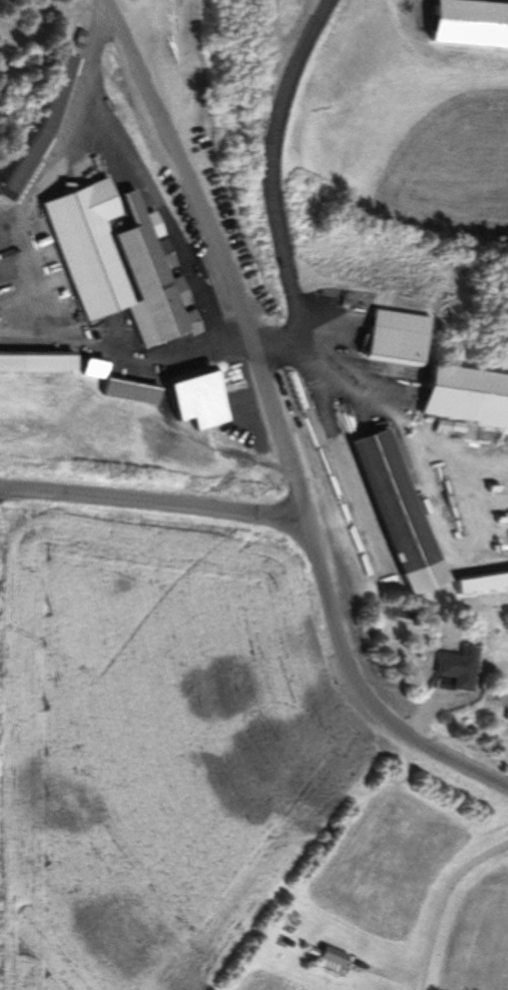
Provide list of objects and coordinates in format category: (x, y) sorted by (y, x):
building: (470, 23)
building: (118, 260)
building: (393, 338)
building: (37, 361)
building: (94, 368)
building: (196, 391)
building: (130, 392)
building: (467, 397)
road: (281, 421)
road: (153, 499)
building: (402, 512)
building: (482, 583)
building: (459, 670)
building: (507, 718)
road: (445, 904)
building: (337, 955)

